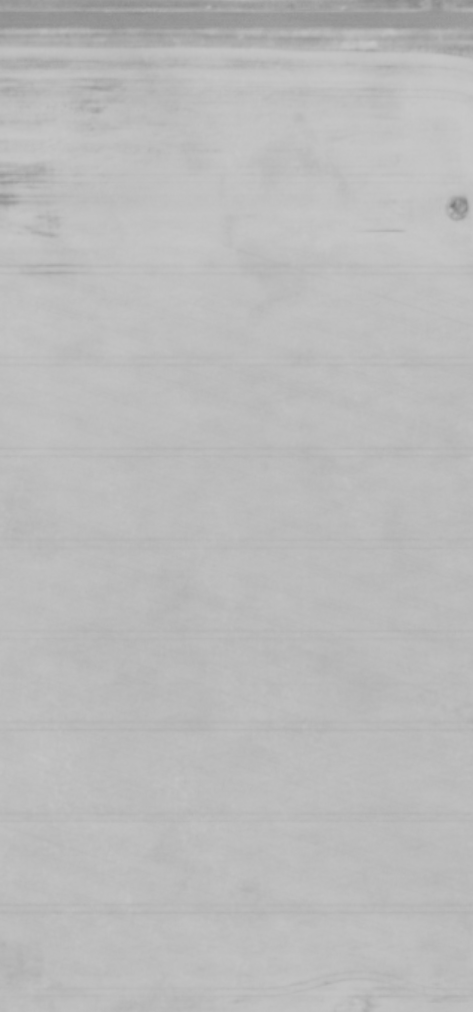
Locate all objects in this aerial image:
road: (436, 8)
road: (236, 17)

